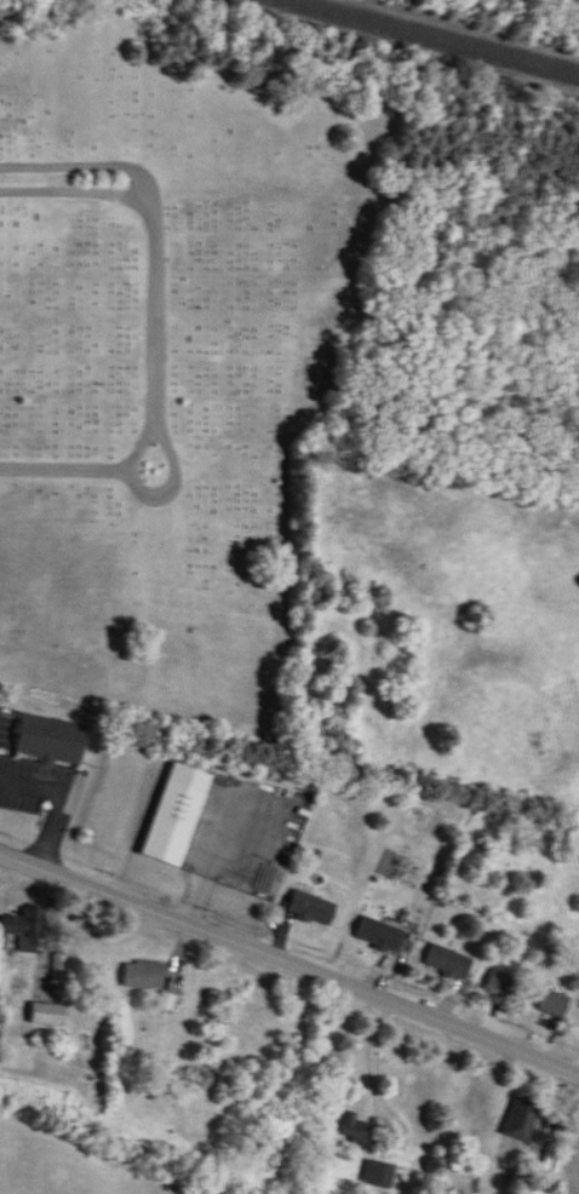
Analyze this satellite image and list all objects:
railway: (464, 28)
road: (156, 312)
park: (173, 352)
road: (174, 472)
building: (53, 739)
road: (56, 799)
building: (178, 815)
road: (213, 850)
building: (313, 909)
building: (27, 930)
building: (382, 936)
road: (289, 959)
building: (449, 964)
building: (144, 976)
building: (503, 985)
building: (556, 1005)
building: (50, 1016)
road: (377, 1057)
building: (523, 1120)
building: (356, 1130)
building: (379, 1175)

